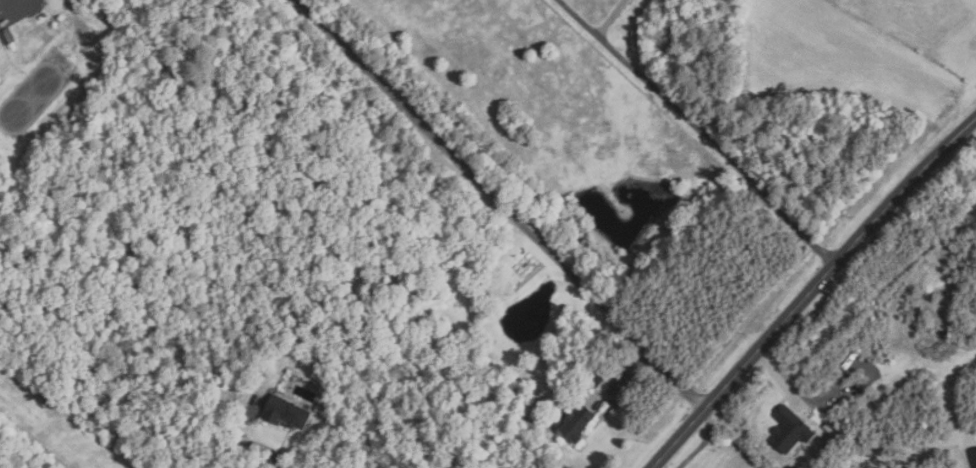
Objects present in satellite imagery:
road: (609, 18)
building: (8, 36)
road: (699, 128)
road: (501, 204)
road: (812, 291)
building: (597, 380)
road: (793, 396)
building: (287, 414)
building: (576, 422)
building: (828, 427)
building: (792, 430)
road: (704, 443)
road: (245, 445)
building: (973, 456)

